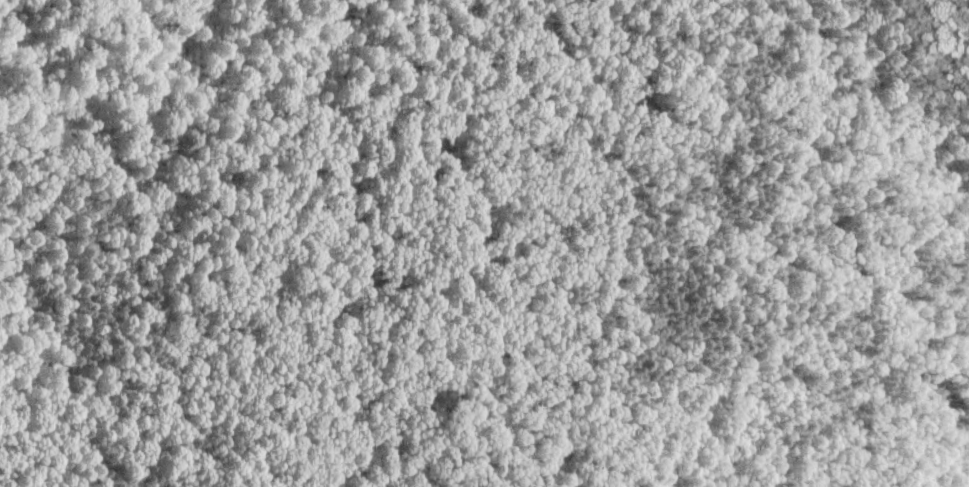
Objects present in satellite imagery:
road: (205, 122)
road: (40, 369)

